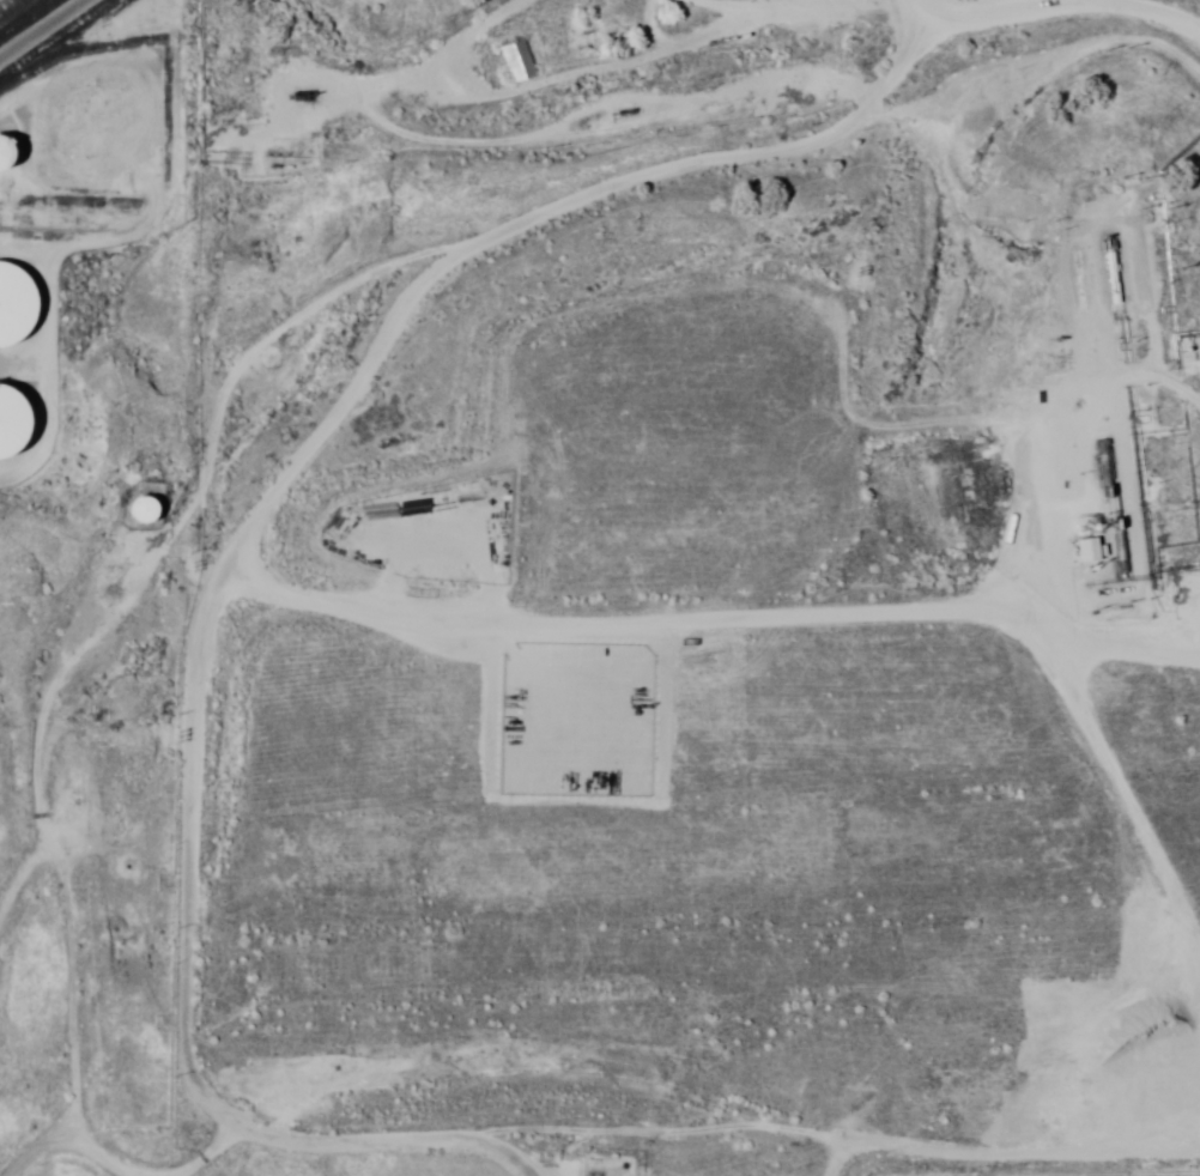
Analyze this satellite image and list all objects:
road: (840, 2)
building: (517, 62)
road: (1199, 119)
building: (5, 156)
building: (13, 304)
road: (296, 346)
building: (8, 422)
building: (143, 510)
road: (375, 614)
building: (1195, 631)
road: (328, 639)
building: (1198, 659)
road: (428, 793)
road: (378, 825)
building: (684, 826)
road: (925, 964)
road: (635, 1051)
road: (1026, 1121)
road: (1183, 1142)
road: (128, 1148)

